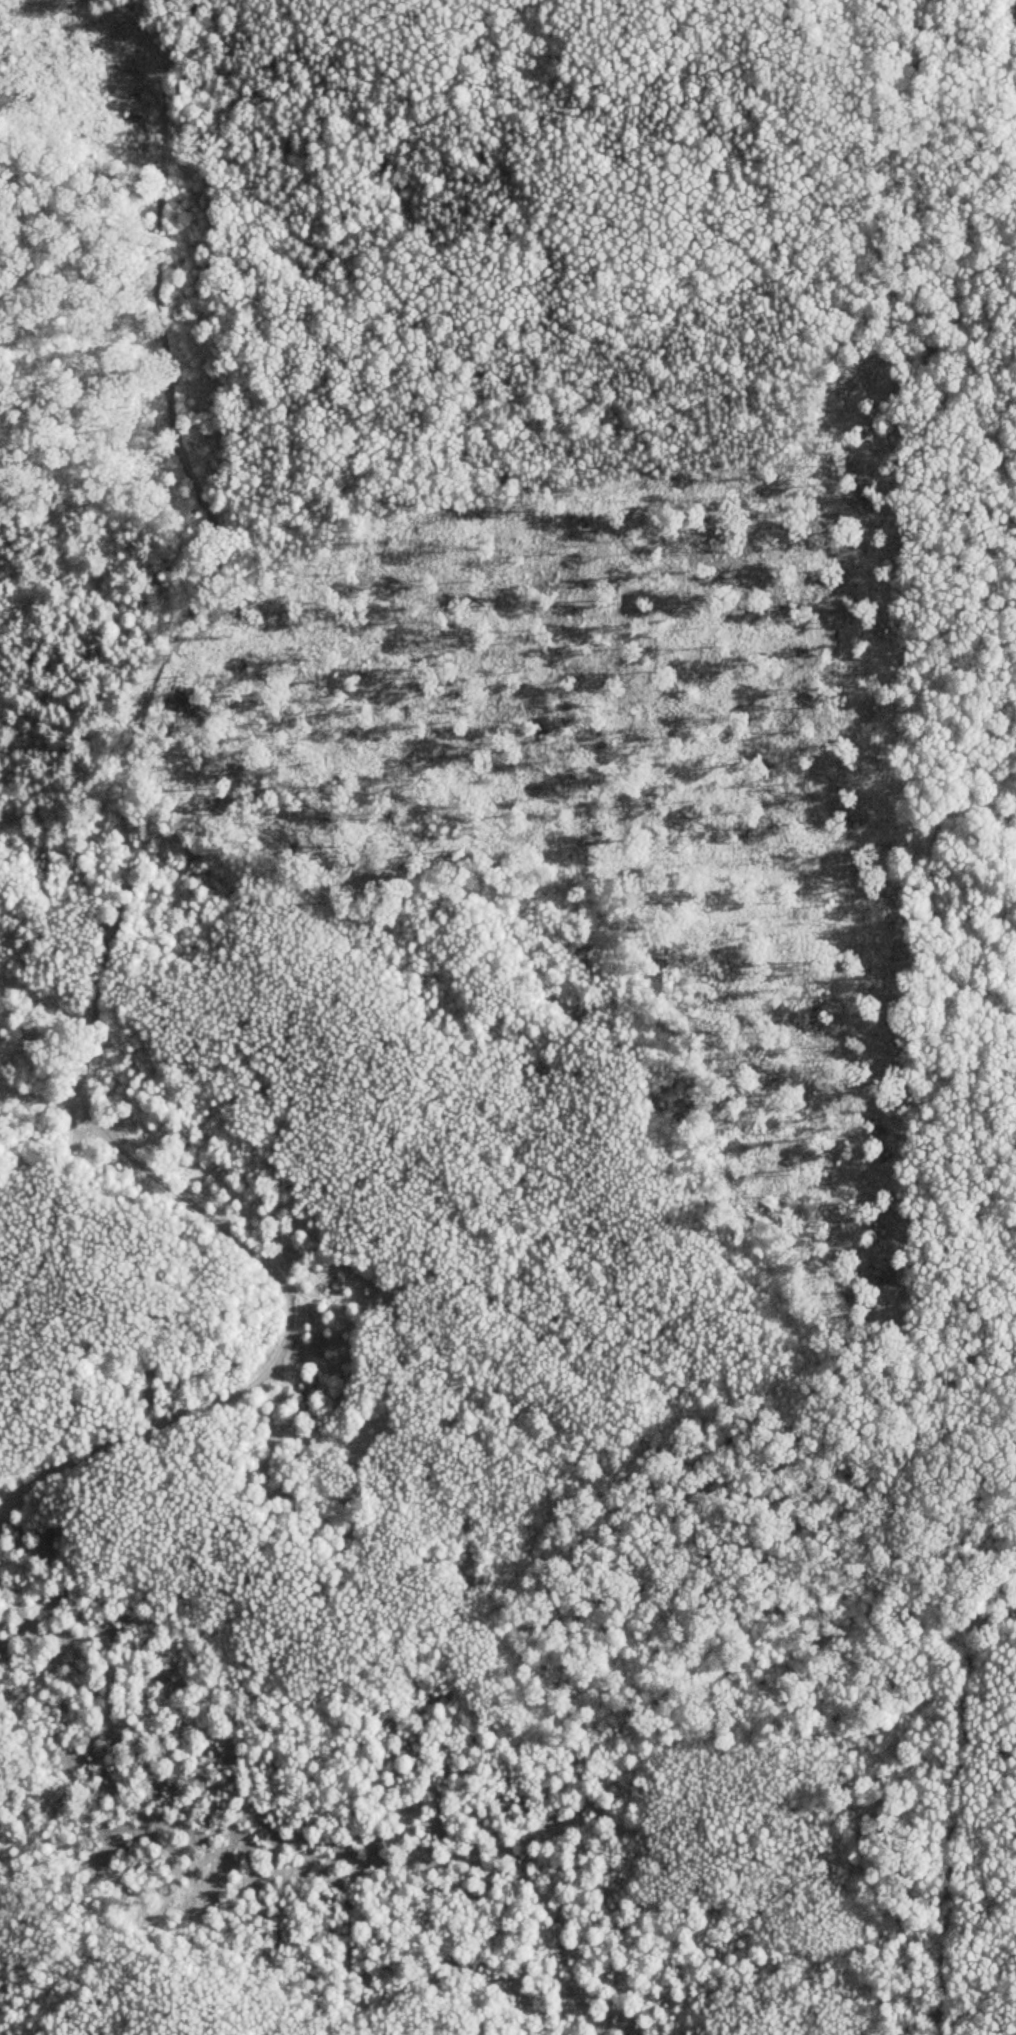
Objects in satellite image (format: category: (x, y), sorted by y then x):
road: (128, 868)
road: (58, 1217)

